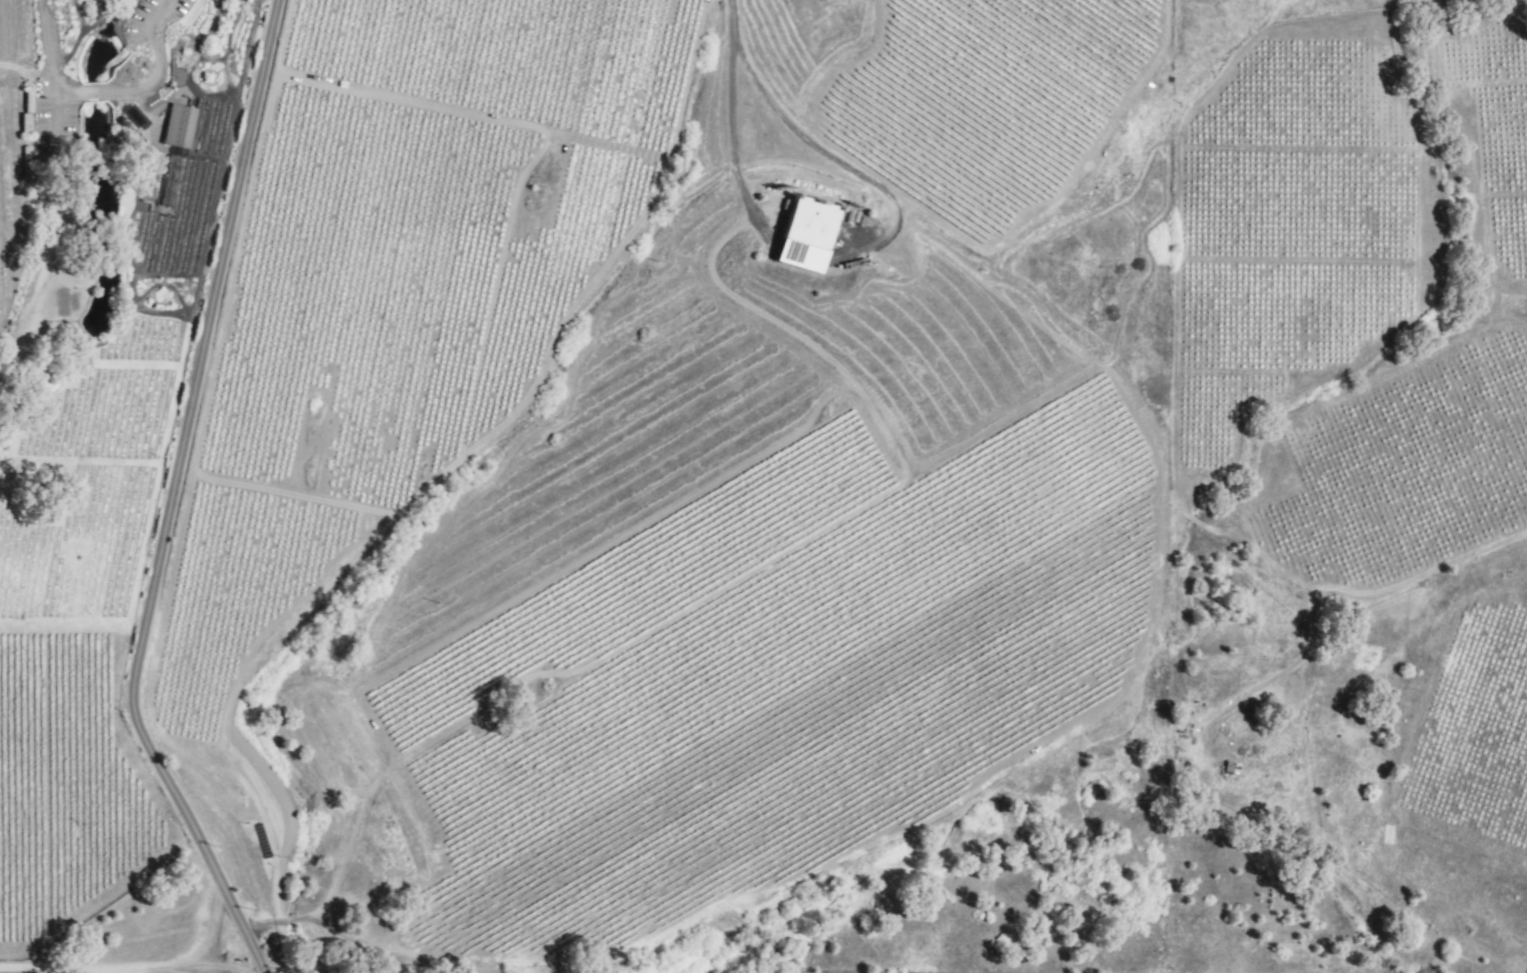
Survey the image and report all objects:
road: (154, 23)
road: (82, 93)
building: (134, 117)
road: (730, 117)
building: (23, 123)
building: (178, 126)
building: (24, 153)
building: (804, 234)
road: (192, 494)
road: (633, 941)
road: (105, 971)

